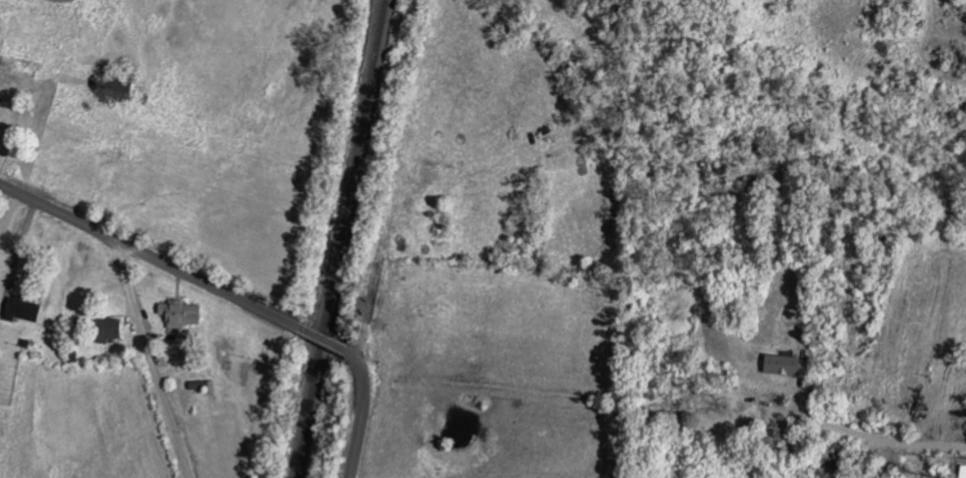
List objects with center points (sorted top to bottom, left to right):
road: (916, 67)
road: (7, 209)
railway: (342, 239)
road: (148, 254)
building: (21, 310)
building: (179, 314)
building: (107, 330)
road: (322, 337)
road: (146, 357)
building: (781, 365)
road: (366, 410)
road: (861, 434)
building: (962, 472)

